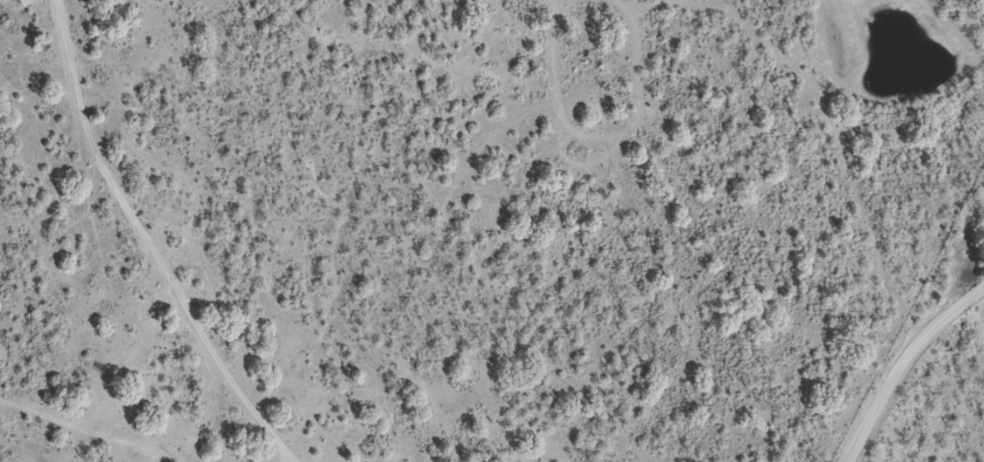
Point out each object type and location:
road: (154, 245)
road: (903, 366)

